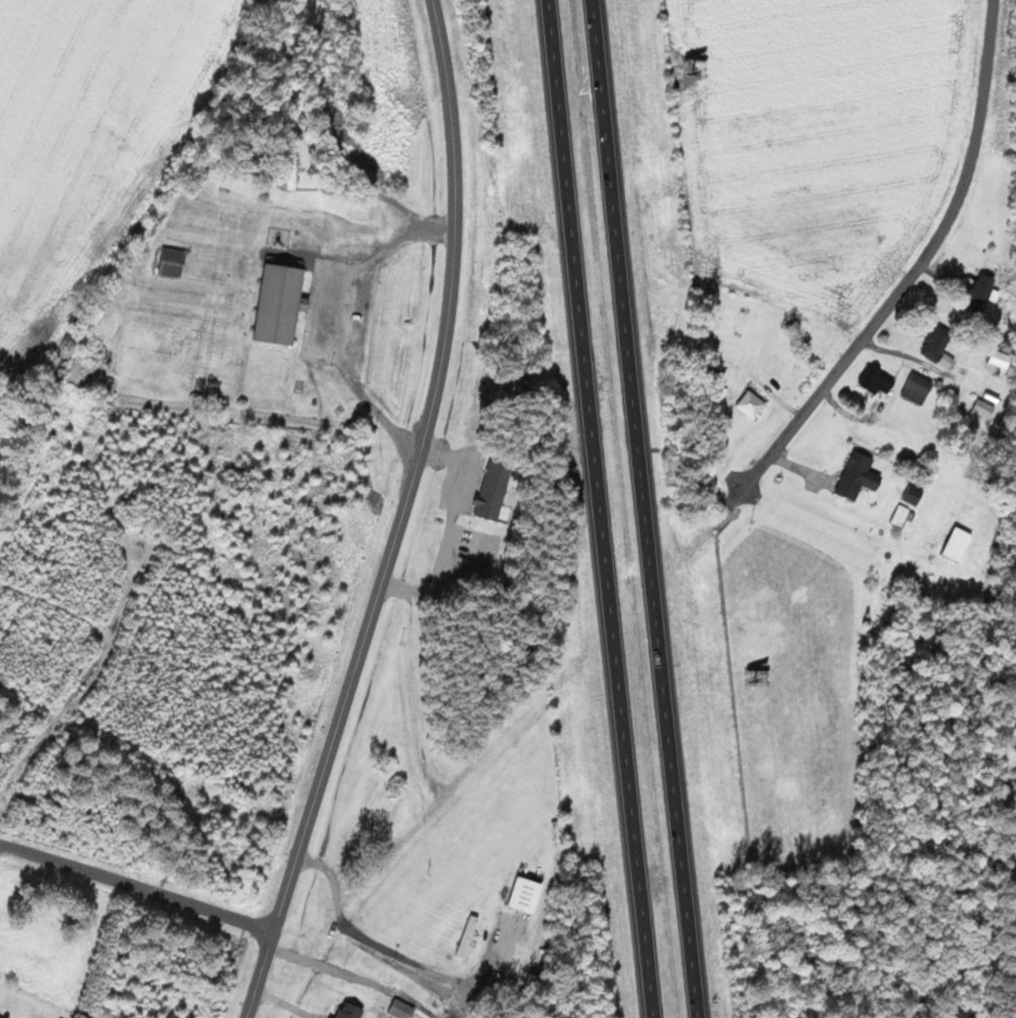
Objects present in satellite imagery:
building: (175, 262)
road: (917, 266)
building: (983, 294)
building: (284, 304)
road: (330, 319)
building: (939, 343)
building: (1002, 359)
building: (949, 361)
building: (879, 380)
building: (919, 388)
building: (754, 405)
building: (986, 409)
building: (861, 475)
building: (495, 489)
building: (914, 494)
road: (648, 508)
road: (597, 509)
road: (402, 516)
building: (961, 543)
road: (137, 891)
building: (469, 936)
building: (403, 1009)
building: (353, 1011)
building: (333, 1017)

